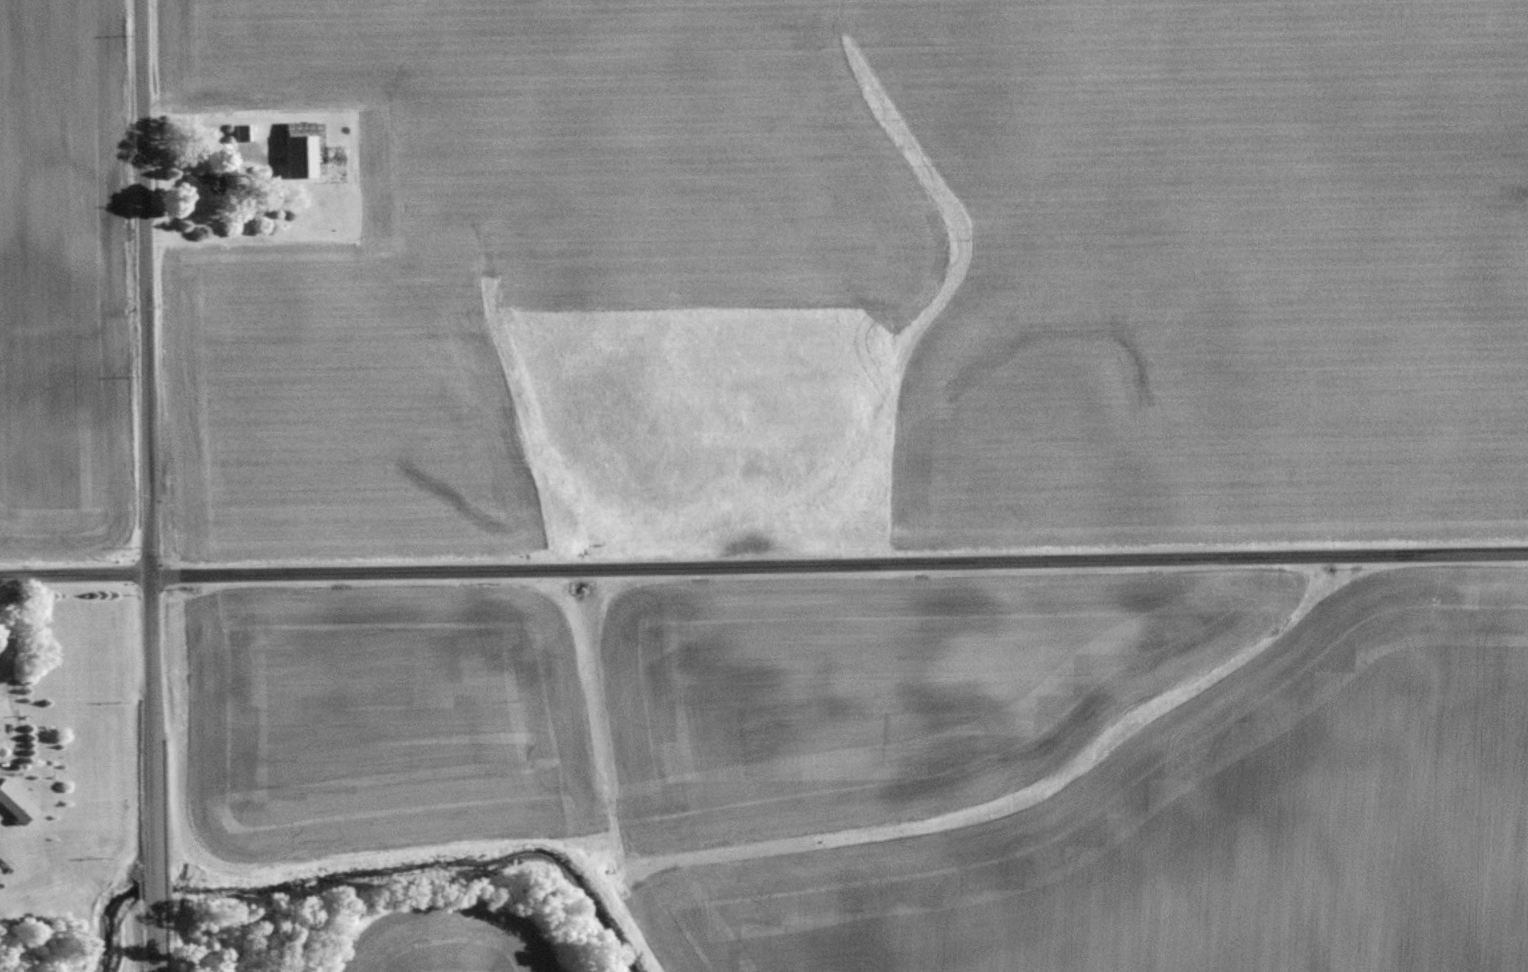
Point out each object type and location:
building: (246, 131)
building: (299, 148)
road: (149, 485)
road: (763, 564)
road: (7, 621)
road: (2, 672)
road: (16, 721)
building: (15, 801)

